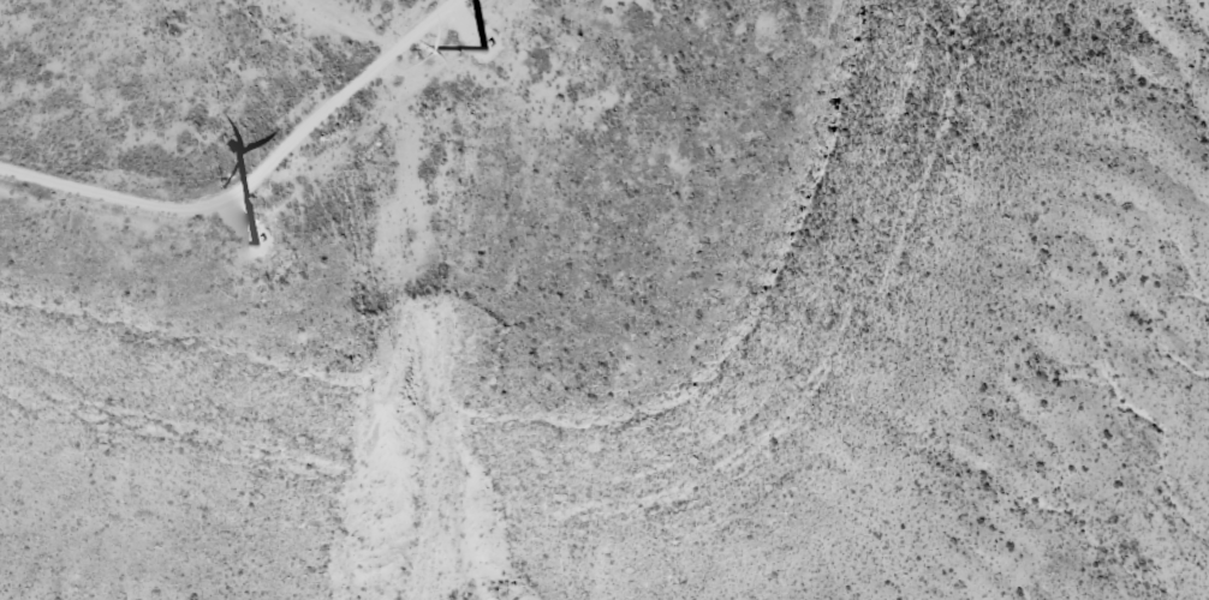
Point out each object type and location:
wind turbine: (483, 43)
wind turbine: (261, 245)

